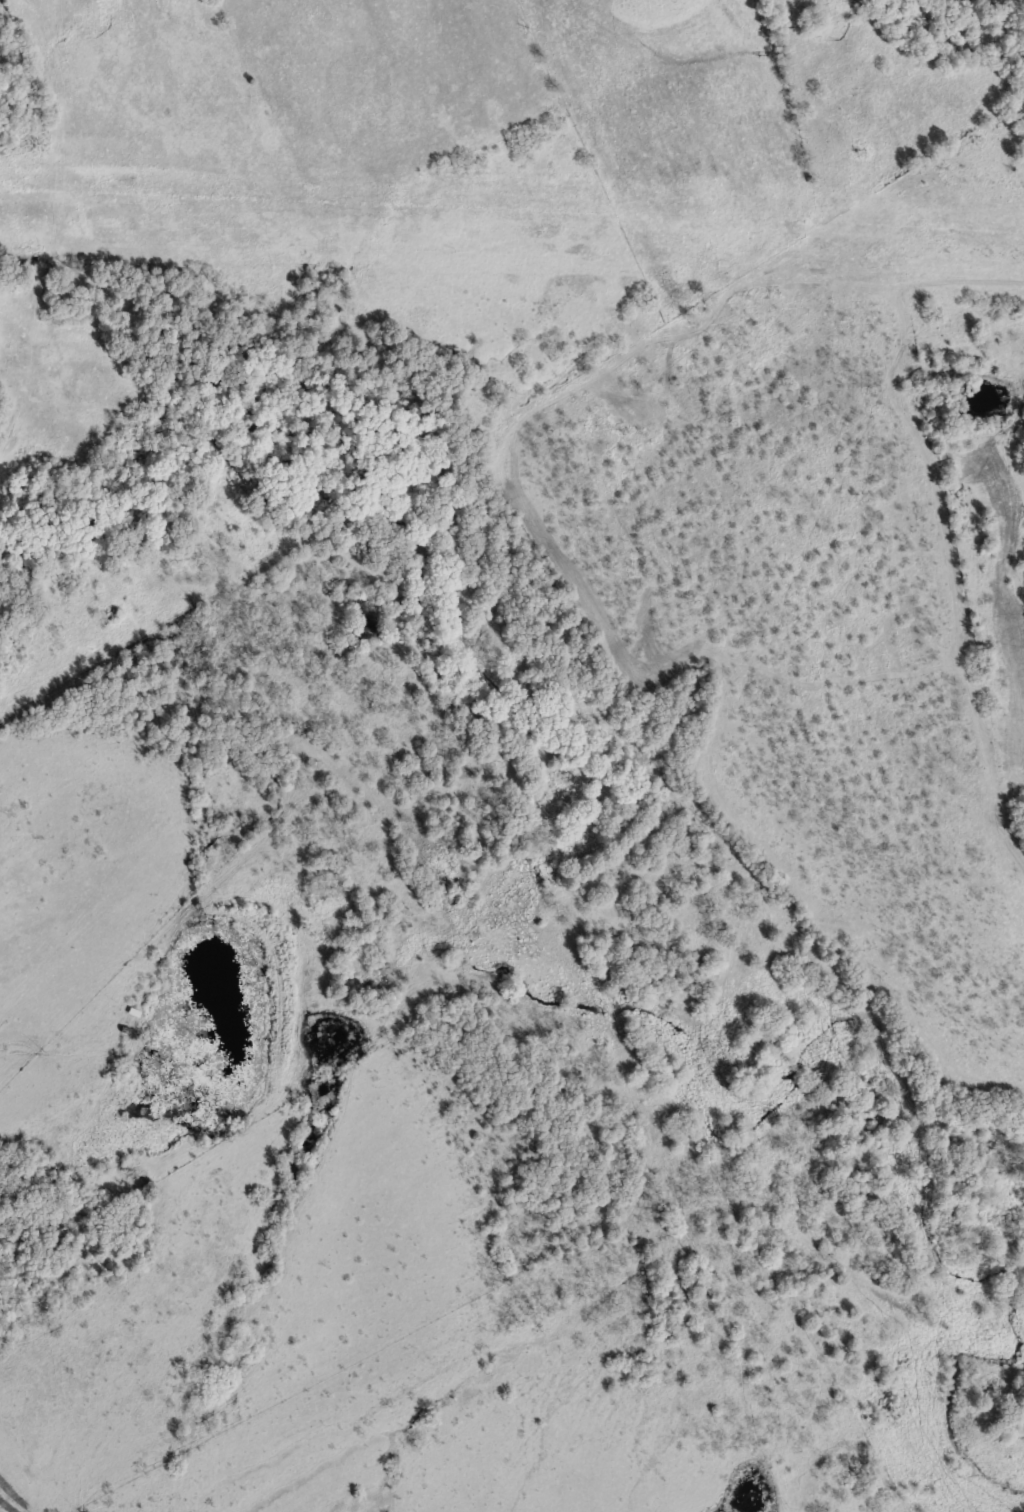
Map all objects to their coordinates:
road: (61, 223)

